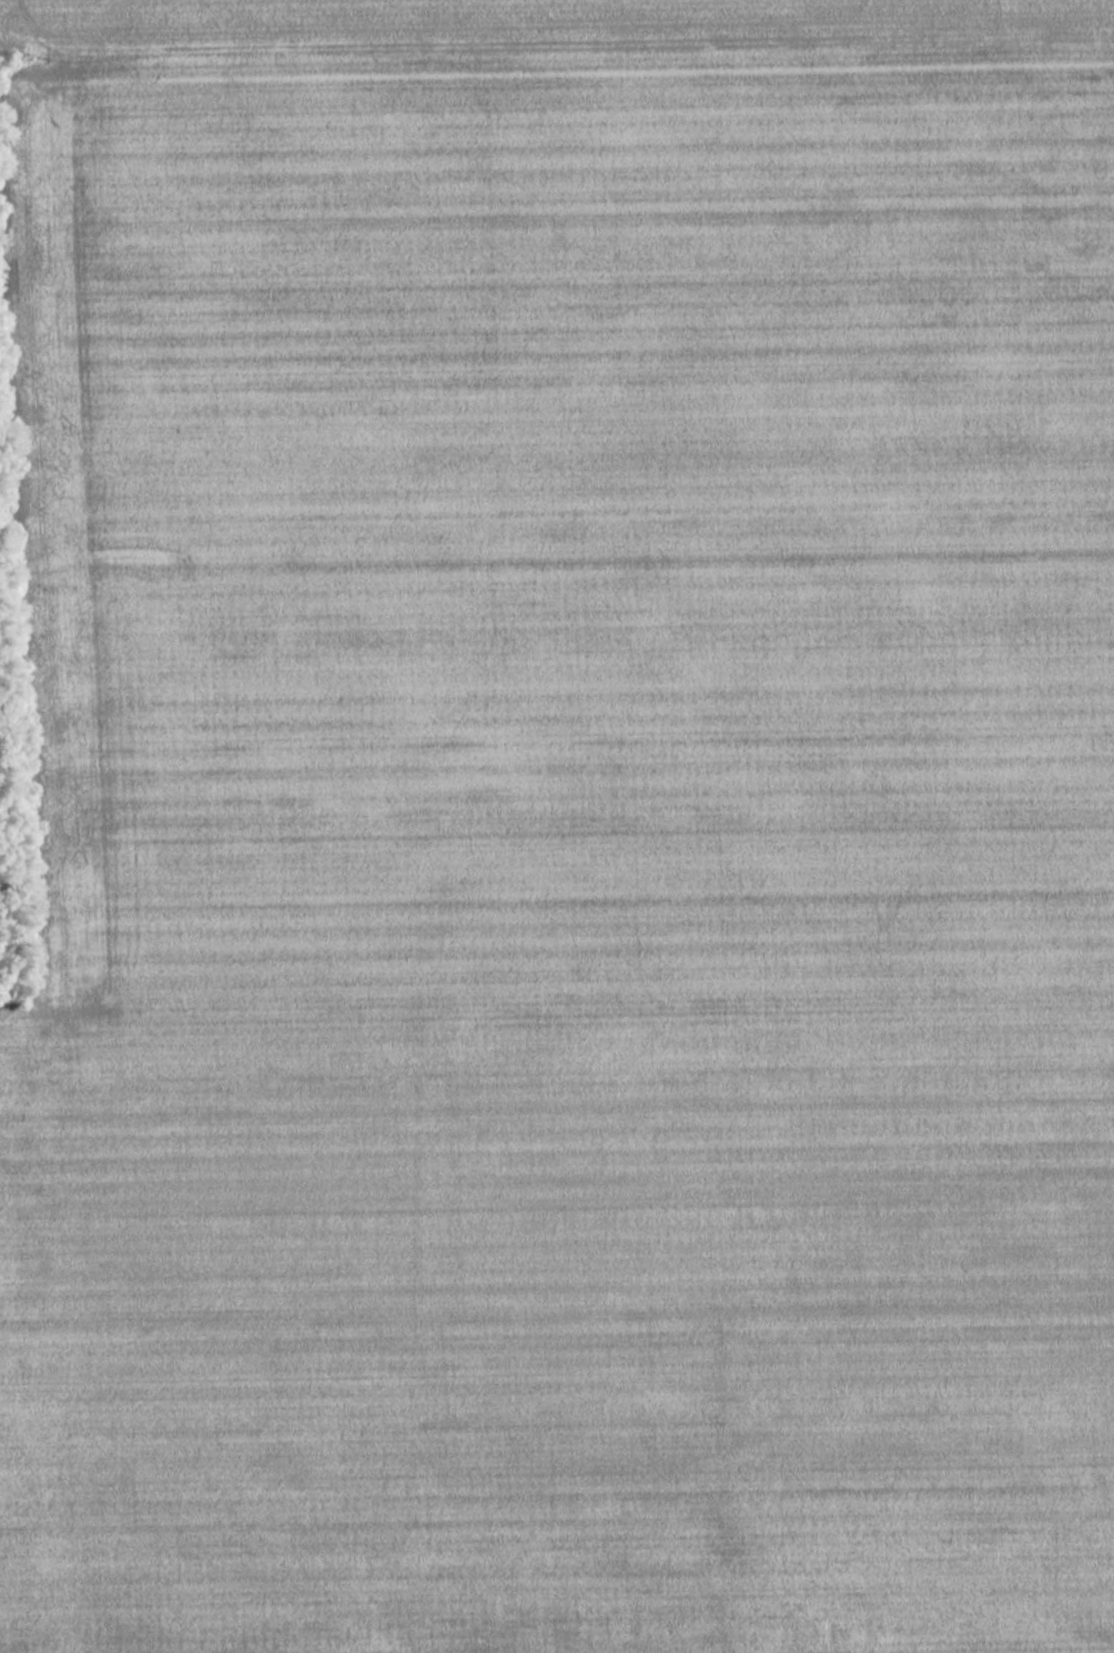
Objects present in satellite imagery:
crop: (547, 21)
crop: (560, 848)

